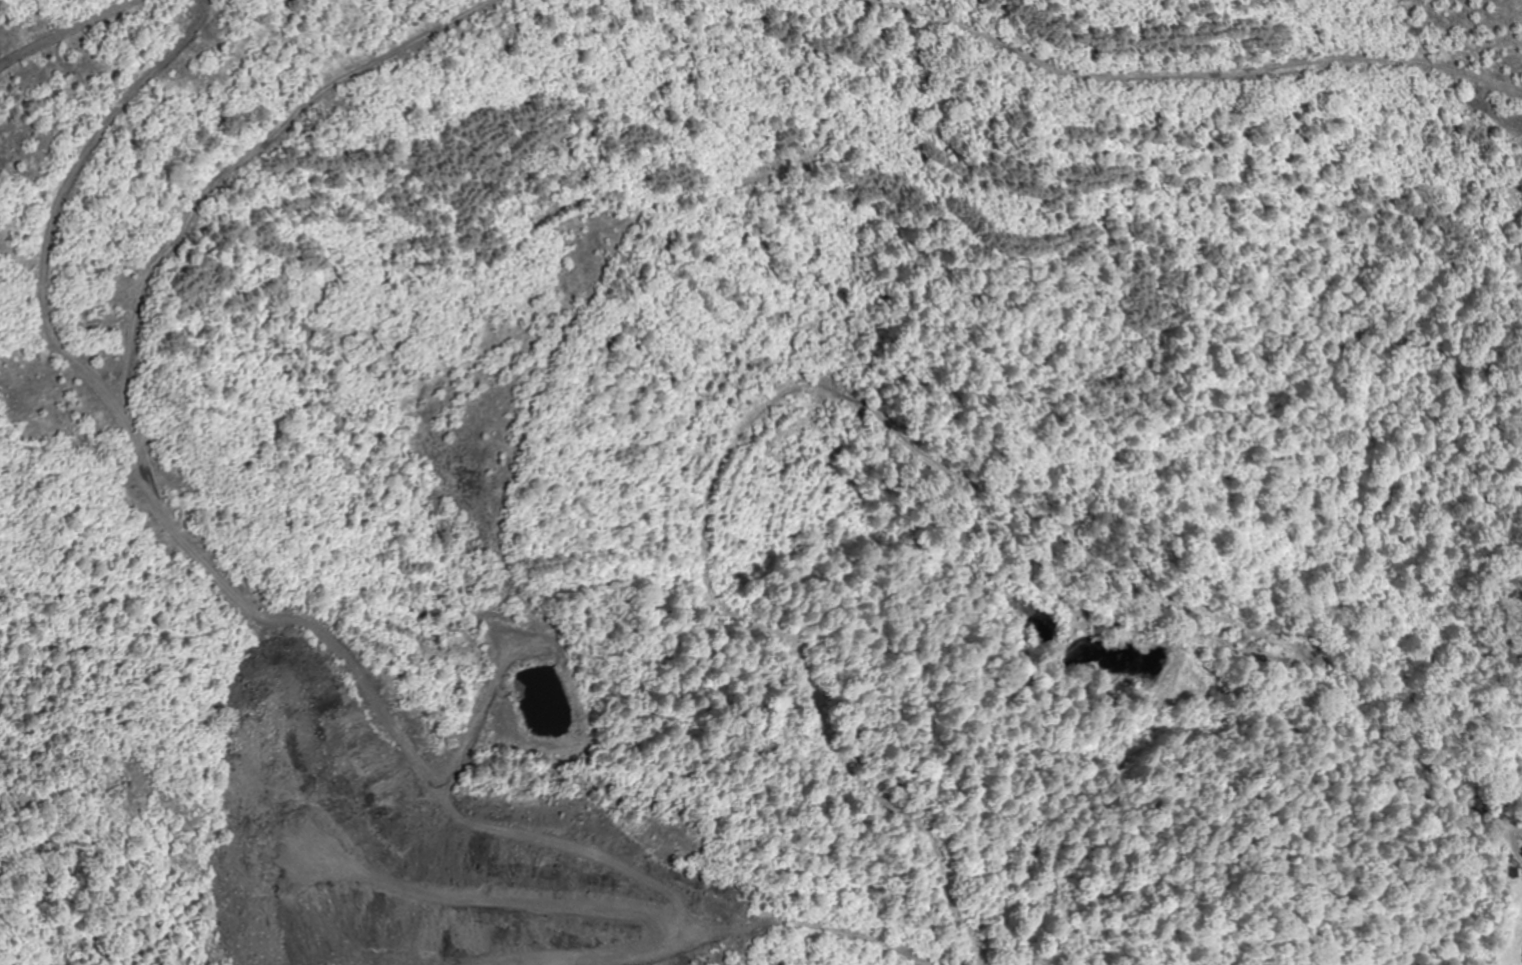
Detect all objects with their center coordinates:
building: (1521, 851)
building: (1515, 950)

